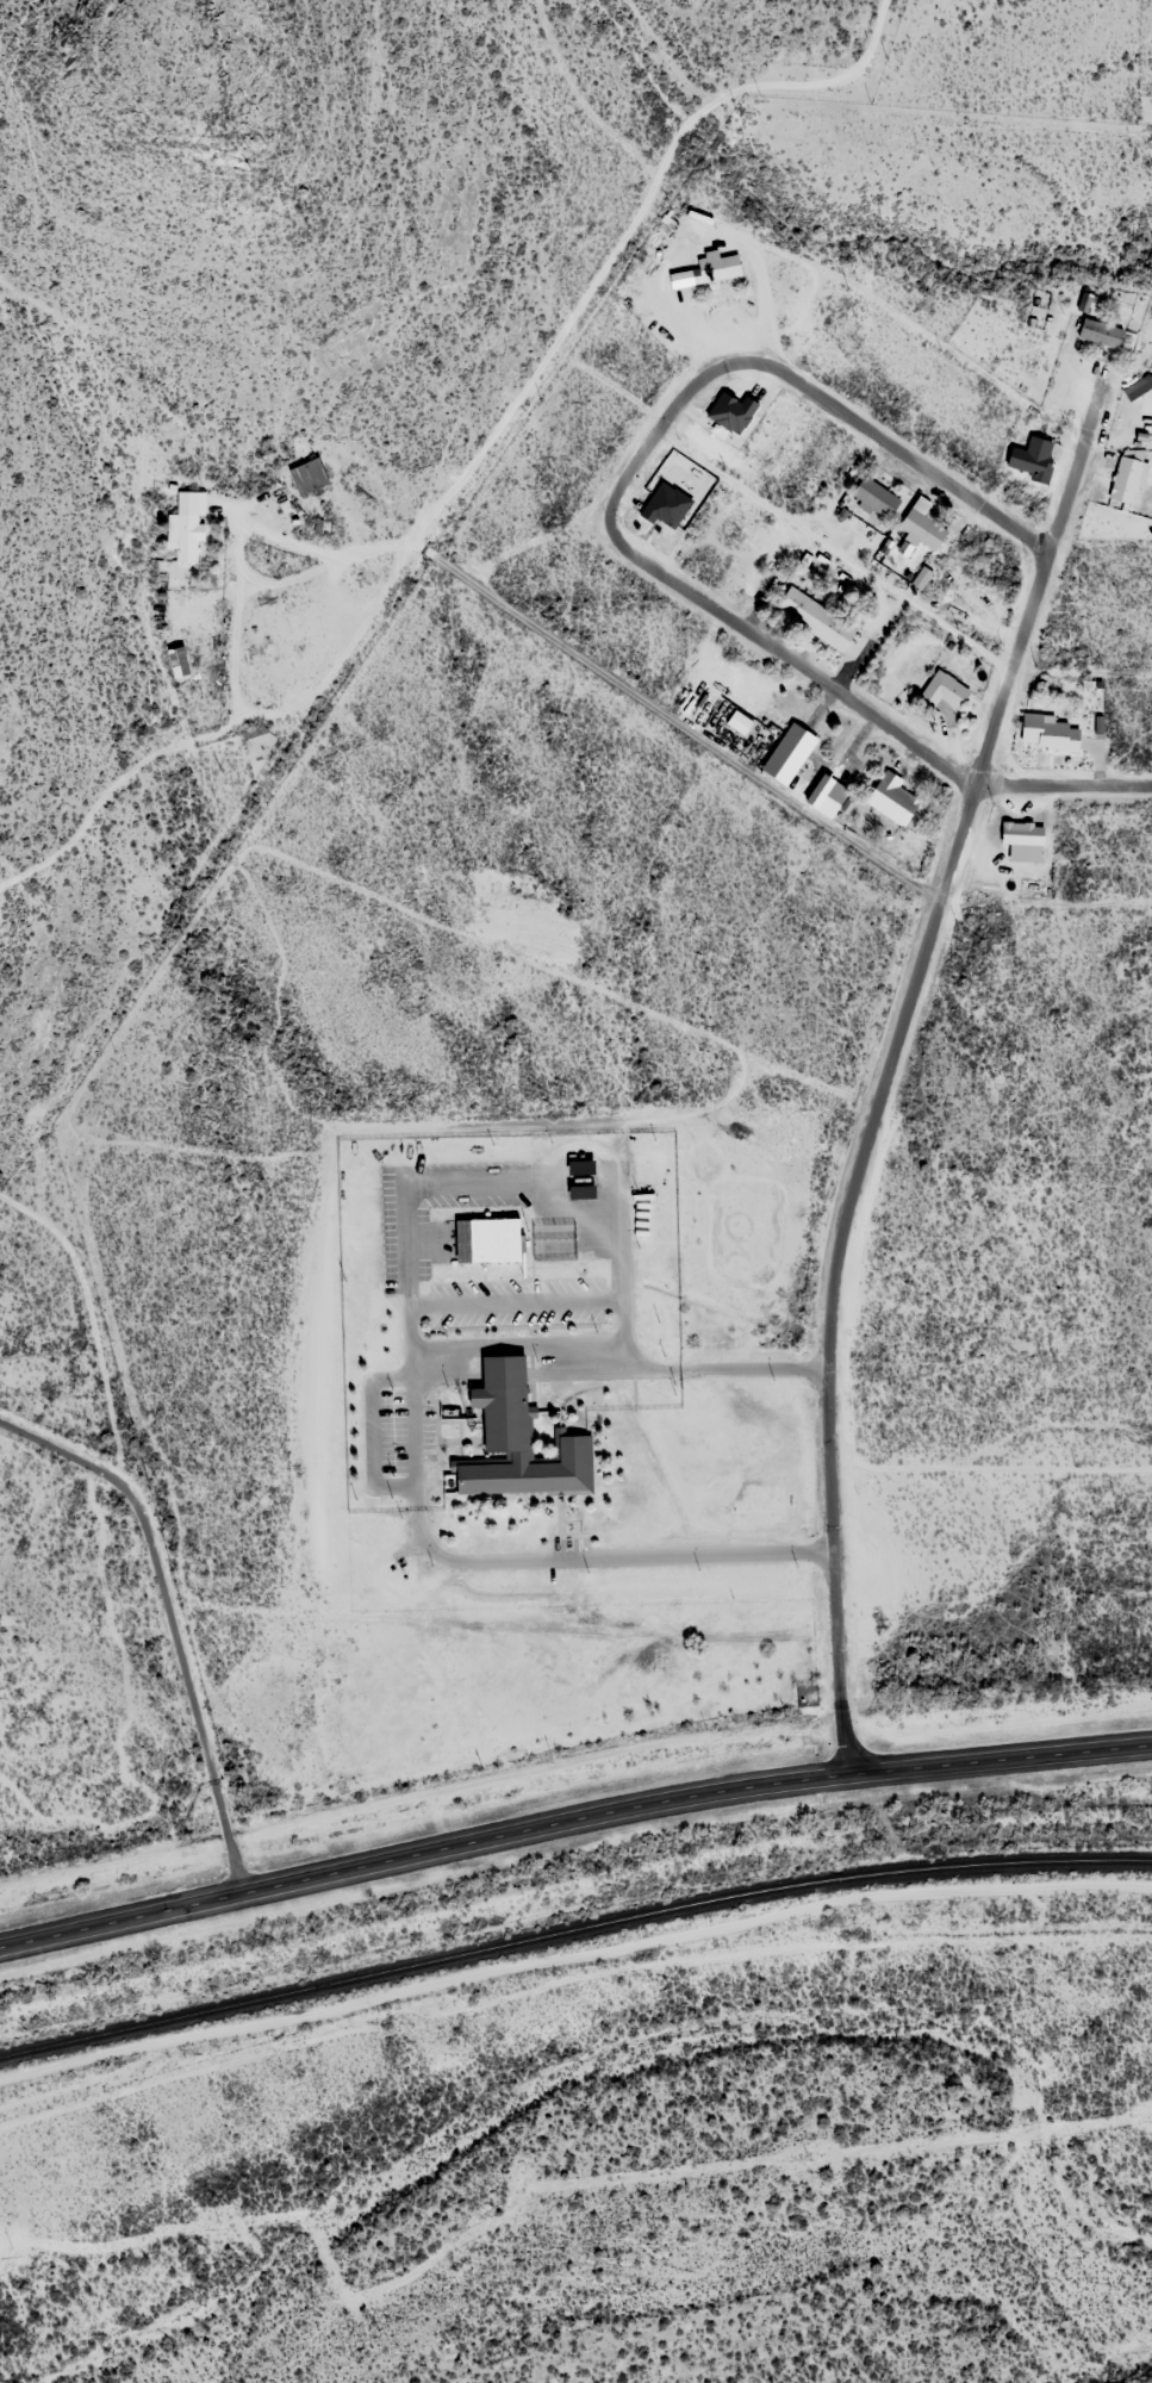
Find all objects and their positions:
building: (711, 269)
building: (1097, 334)
building: (1137, 387)
building: (729, 412)
building: (1029, 458)
road: (636, 462)
building: (306, 475)
building: (1126, 477)
building: (872, 498)
building: (662, 505)
building: (919, 525)
building: (183, 528)
building: (812, 618)
building: (940, 692)
building: (785, 754)
road: (1060, 784)
building: (891, 798)
road: (882, 1070)
building: (577, 1168)
building: (469, 1239)
building: (515, 1442)
road: (406, 1458)
road: (172, 1513)
road: (571, 1818)
railway: (572, 1928)

